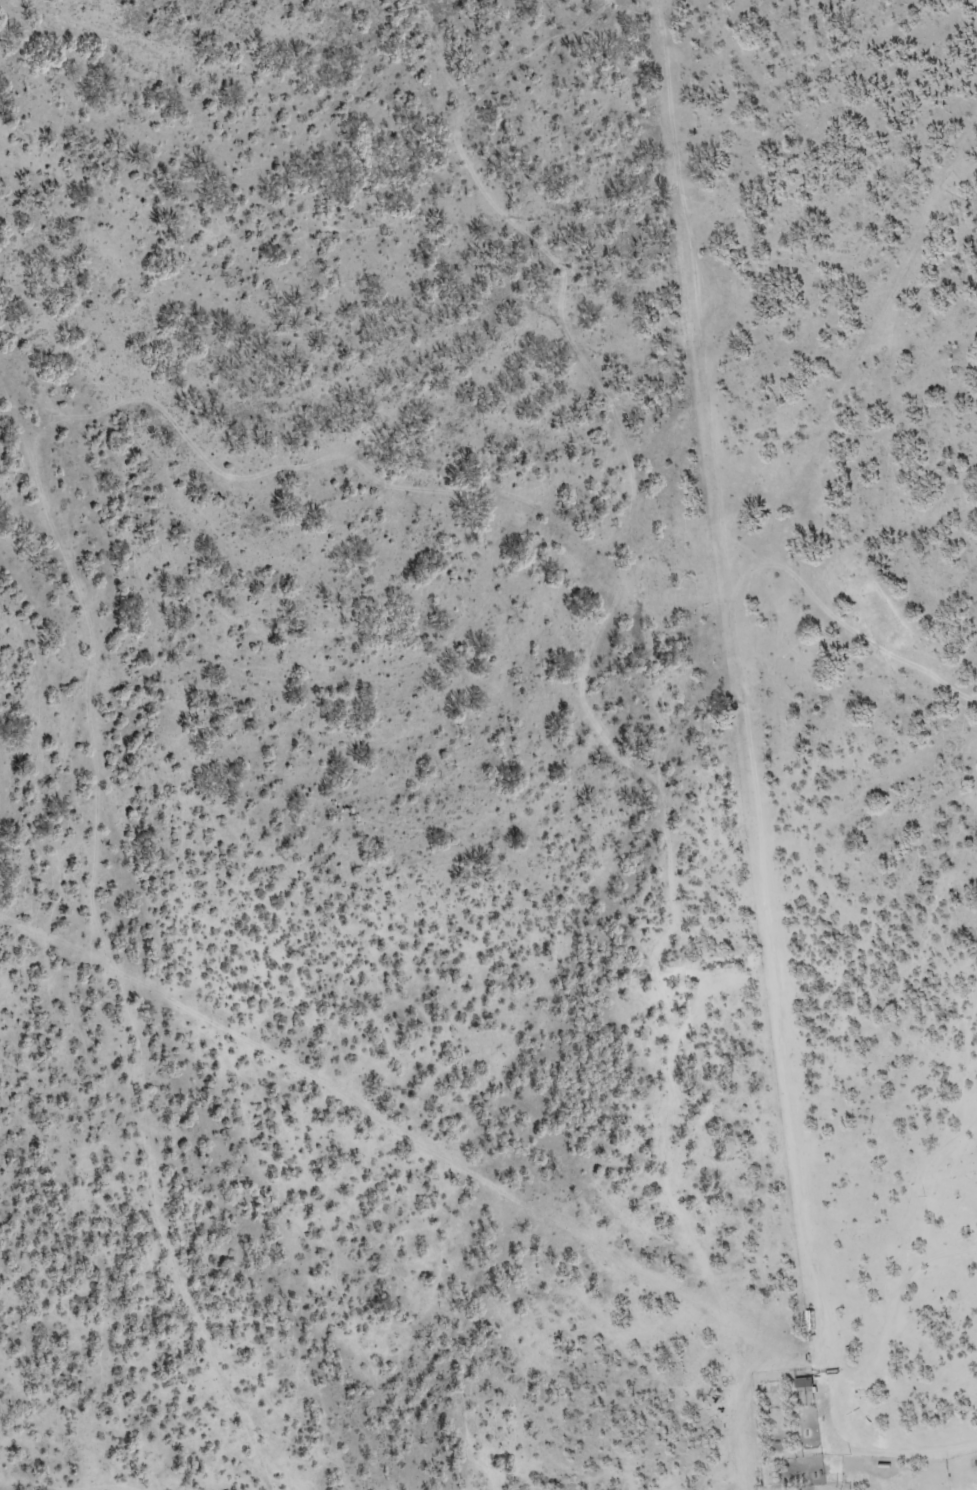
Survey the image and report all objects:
road: (976, 0)
building: (804, 1382)
road: (400, 1417)

